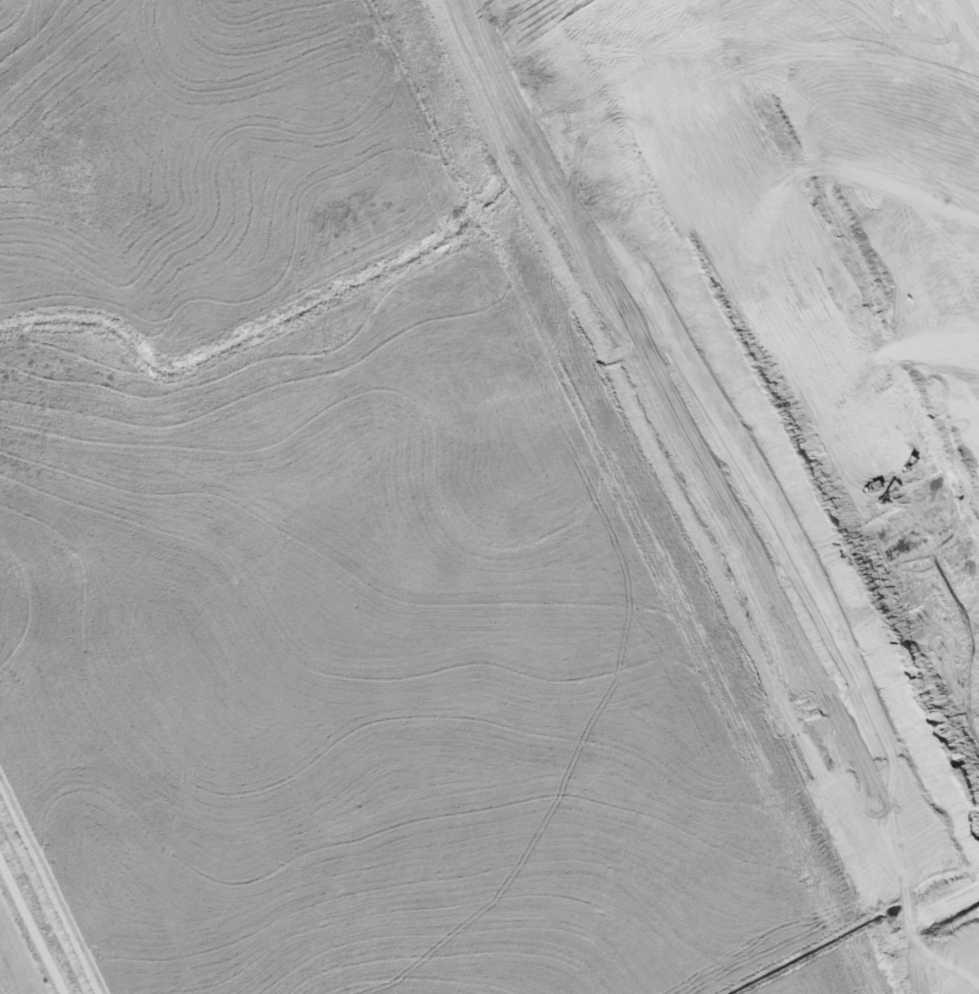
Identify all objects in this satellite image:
road: (30, 929)

